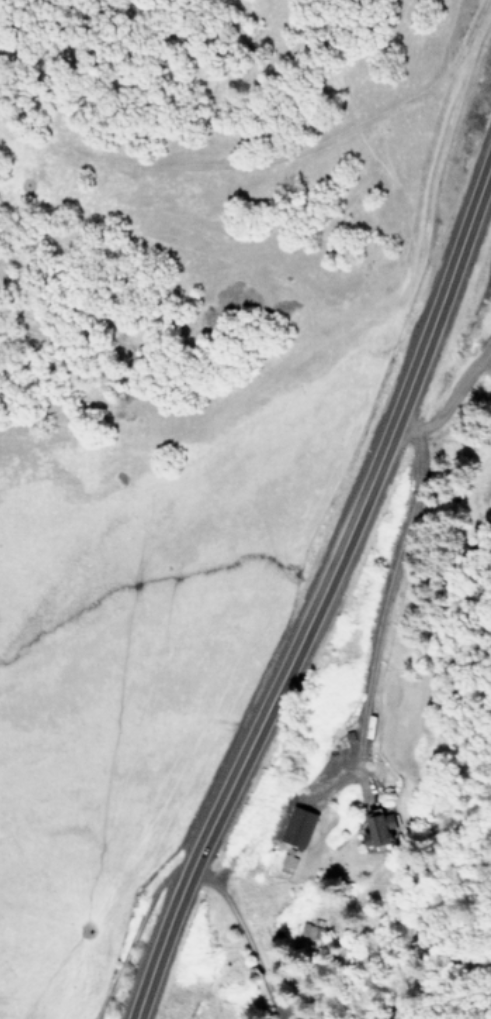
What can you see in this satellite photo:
road: (448, 400)
road: (323, 585)
road: (386, 597)
crop: (118, 670)
building: (295, 828)
building: (376, 828)
building: (317, 934)
road: (243, 936)

